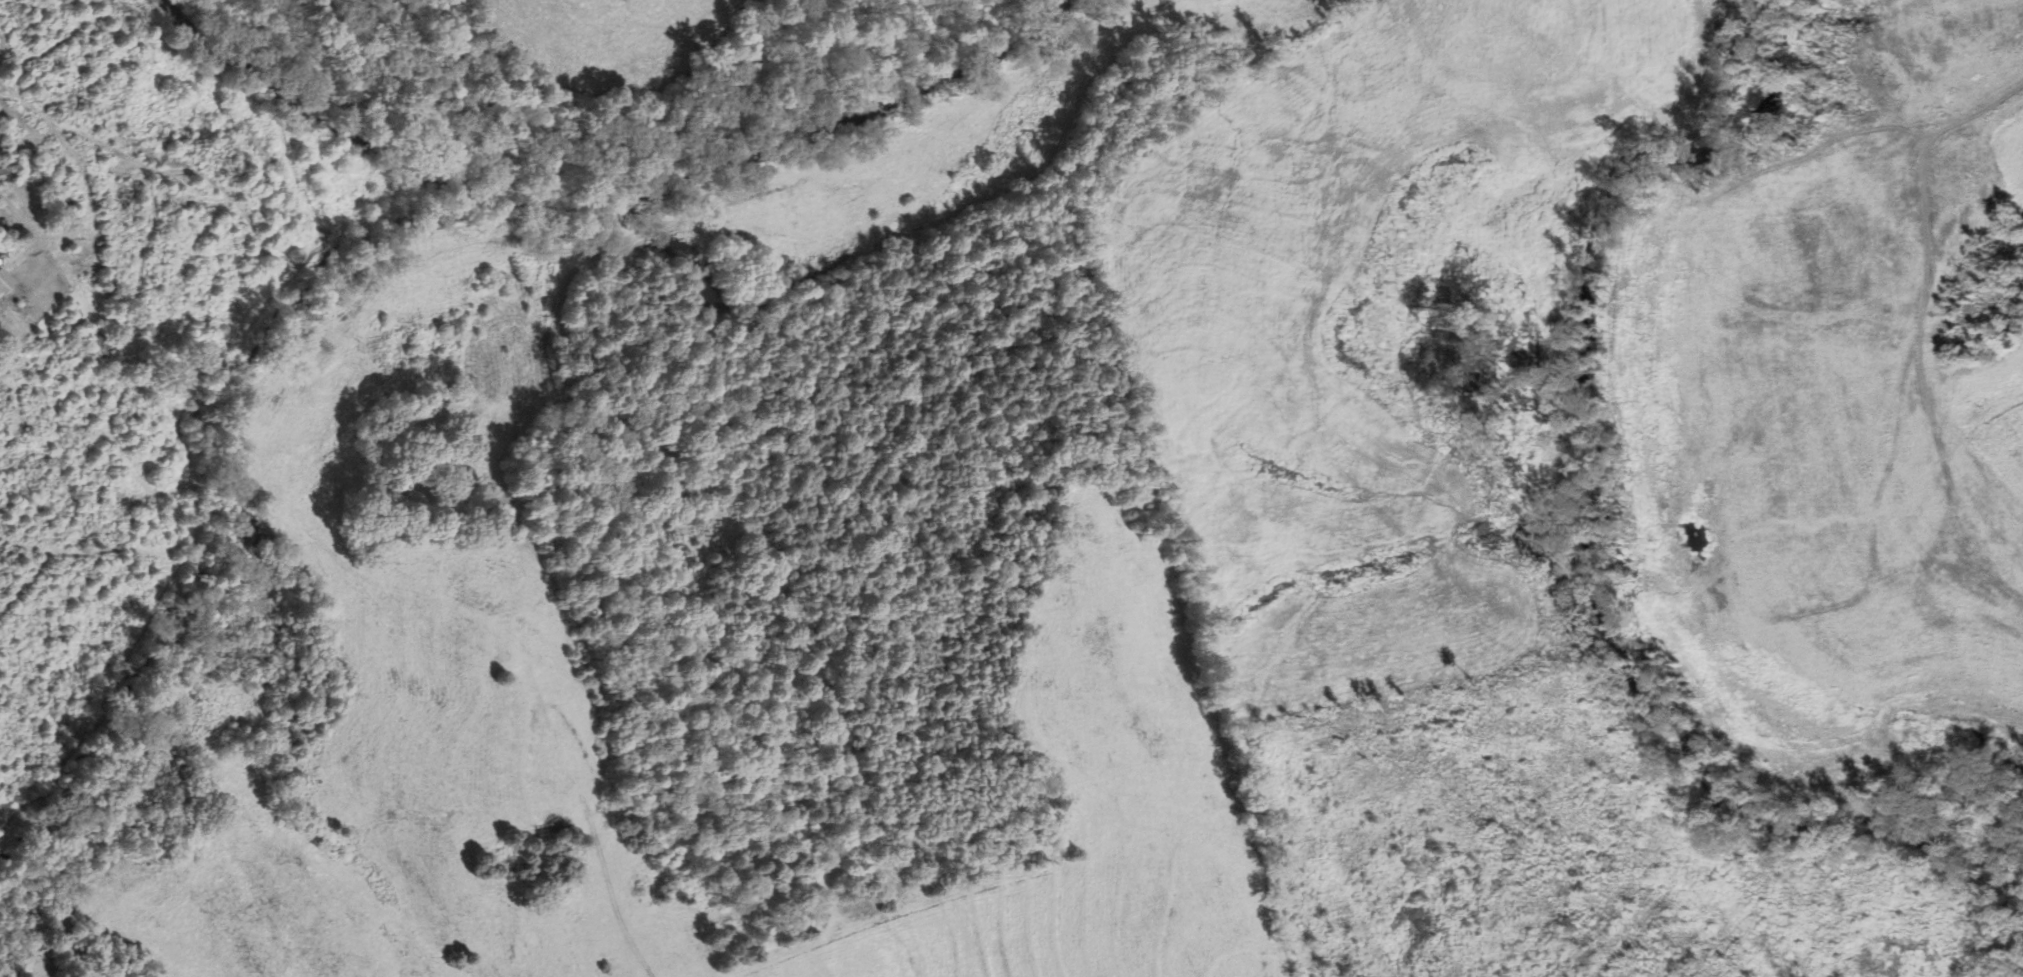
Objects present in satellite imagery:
building: (4, 282)

